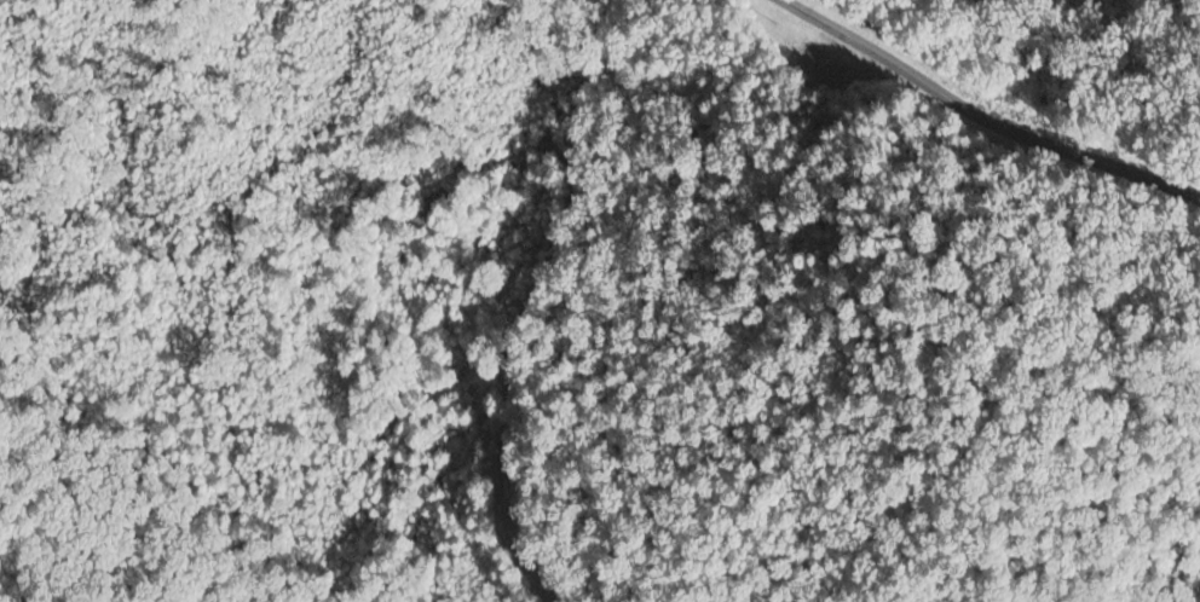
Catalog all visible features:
road: (983, 115)
road: (565, 202)
road: (492, 492)

